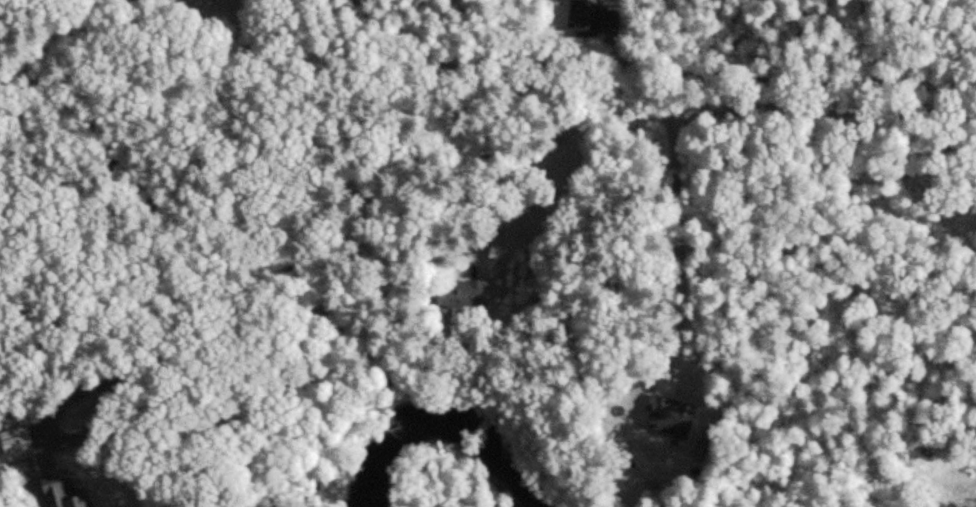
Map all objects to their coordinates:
building: (147, 0)
building: (153, 1)
building: (594, 18)
road: (700, 72)
road: (686, 111)
road: (681, 249)
building: (464, 291)
river: (445, 412)
building: (647, 463)
building: (67, 490)

